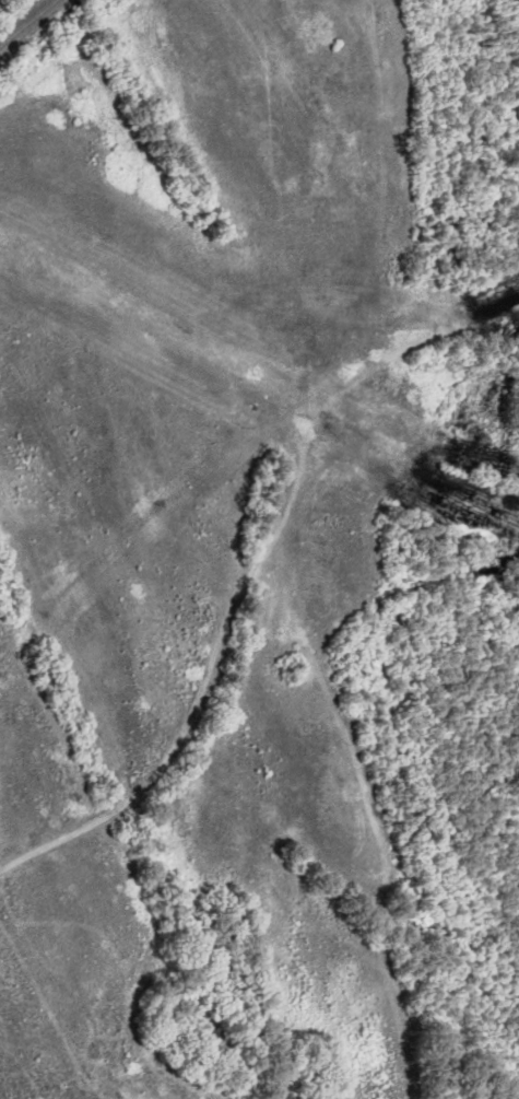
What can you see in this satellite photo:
railway: (32, 24)

